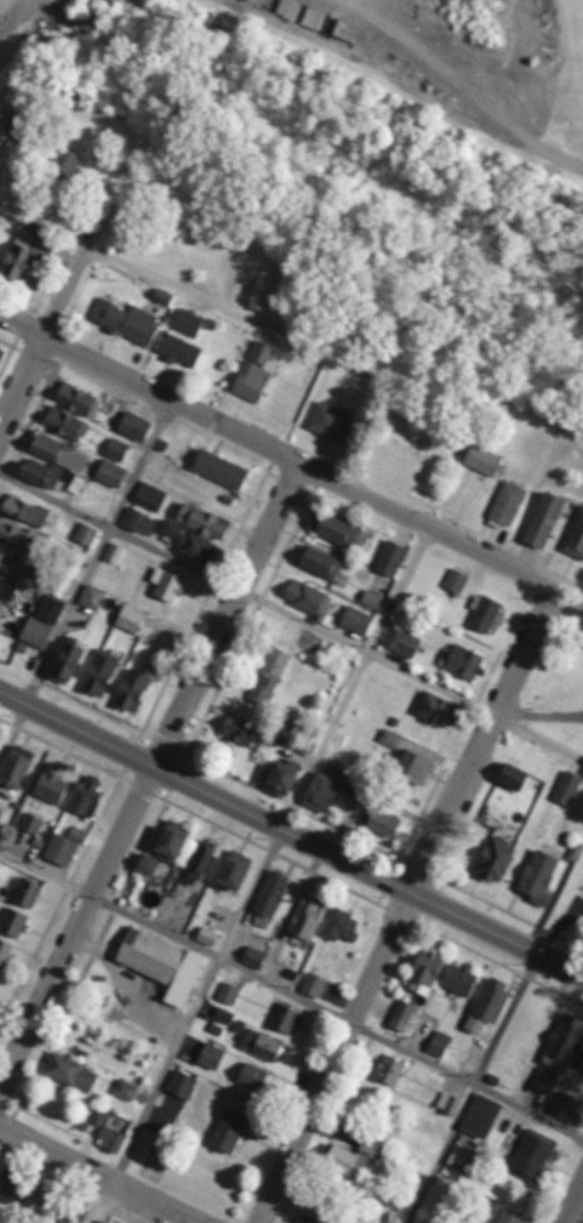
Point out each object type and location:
building: (1, 5)
building: (15, 121)
building: (64, 161)
building: (0, 170)
building: (19, 256)
road: (176, 285)
road: (48, 313)
building: (125, 319)
building: (185, 322)
building: (179, 349)
building: (1, 352)
building: (255, 371)
building: (75, 399)
building: (331, 422)
building: (64, 423)
building: (132, 425)
building: (115, 449)
road: (273, 450)
building: (57, 453)
building: (482, 460)
building: (218, 468)
building: (109, 473)
building: (48, 474)
building: (148, 496)
building: (507, 502)
building: (24, 510)
building: (543, 519)
building: (201, 521)
building: (138, 522)
building: (336, 528)
building: (85, 534)
building: (16, 535)
building: (575, 536)
building: (190, 541)
building: (113, 553)
building: (389, 558)
building: (320, 562)
building: (10, 564)
road: (82, 575)
building: (455, 580)
building: (165, 584)
building: (6, 588)
road: (247, 588)
building: (307, 598)
building: (370, 598)
building: (0, 603)
building: (48, 609)
building: (484, 614)
building: (127, 619)
building: (355, 620)
building: (34, 632)
building: (400, 642)
building: (461, 660)
building: (64, 662)
building: (99, 672)
building: (268, 675)
building: (133, 687)
building: (438, 710)
road: (538, 715)
building: (238, 730)
building: (389, 739)
road: (536, 741)
building: (15, 766)
building: (412, 767)
road: (148, 770)
building: (510, 775)
building: (280, 777)
building: (50, 785)
building: (351, 786)
building: (566, 787)
building: (319, 793)
building: (85, 796)
building: (381, 821)
building: (30, 823)
building: (78, 835)
road: (292, 835)
building: (170, 840)
building: (59, 849)
building: (495, 859)
building: (199, 863)
building: (145, 865)
building: (233, 870)
road: (256, 875)
building: (537, 877)
building: (25, 893)
building: (270, 894)
road: (402, 906)
building: (307, 916)
building: (12, 922)
building: (339, 926)
building: (205, 935)
building: (4, 952)
building: (252, 957)
building: (160, 963)
building: (423, 972)
building: (458, 979)
road: (121, 985)
building: (313, 985)
building: (227, 992)
road: (292, 996)
building: (486, 1005)
building: (223, 1014)
building: (401, 1016)
building: (282, 1018)
building: (562, 1041)
building: (438, 1043)
building: (259, 1045)
building: (579, 1054)
building: (210, 1056)
building: (388, 1070)
building: (69, 1073)
building: (252, 1076)
building: (543, 1080)
building: (181, 1085)
road: (470, 1088)
building: (125, 1090)
building: (447, 1103)
building: (567, 1109)
building: (101, 1116)
building: (480, 1116)
building: (227, 1131)
building: (110, 1139)
building: (531, 1153)
building: (354, 1155)
road: (92, 1179)
building: (8, 1184)
road: (573, 1201)
building: (507, 1216)
building: (308, 1219)
building: (98, 1222)

